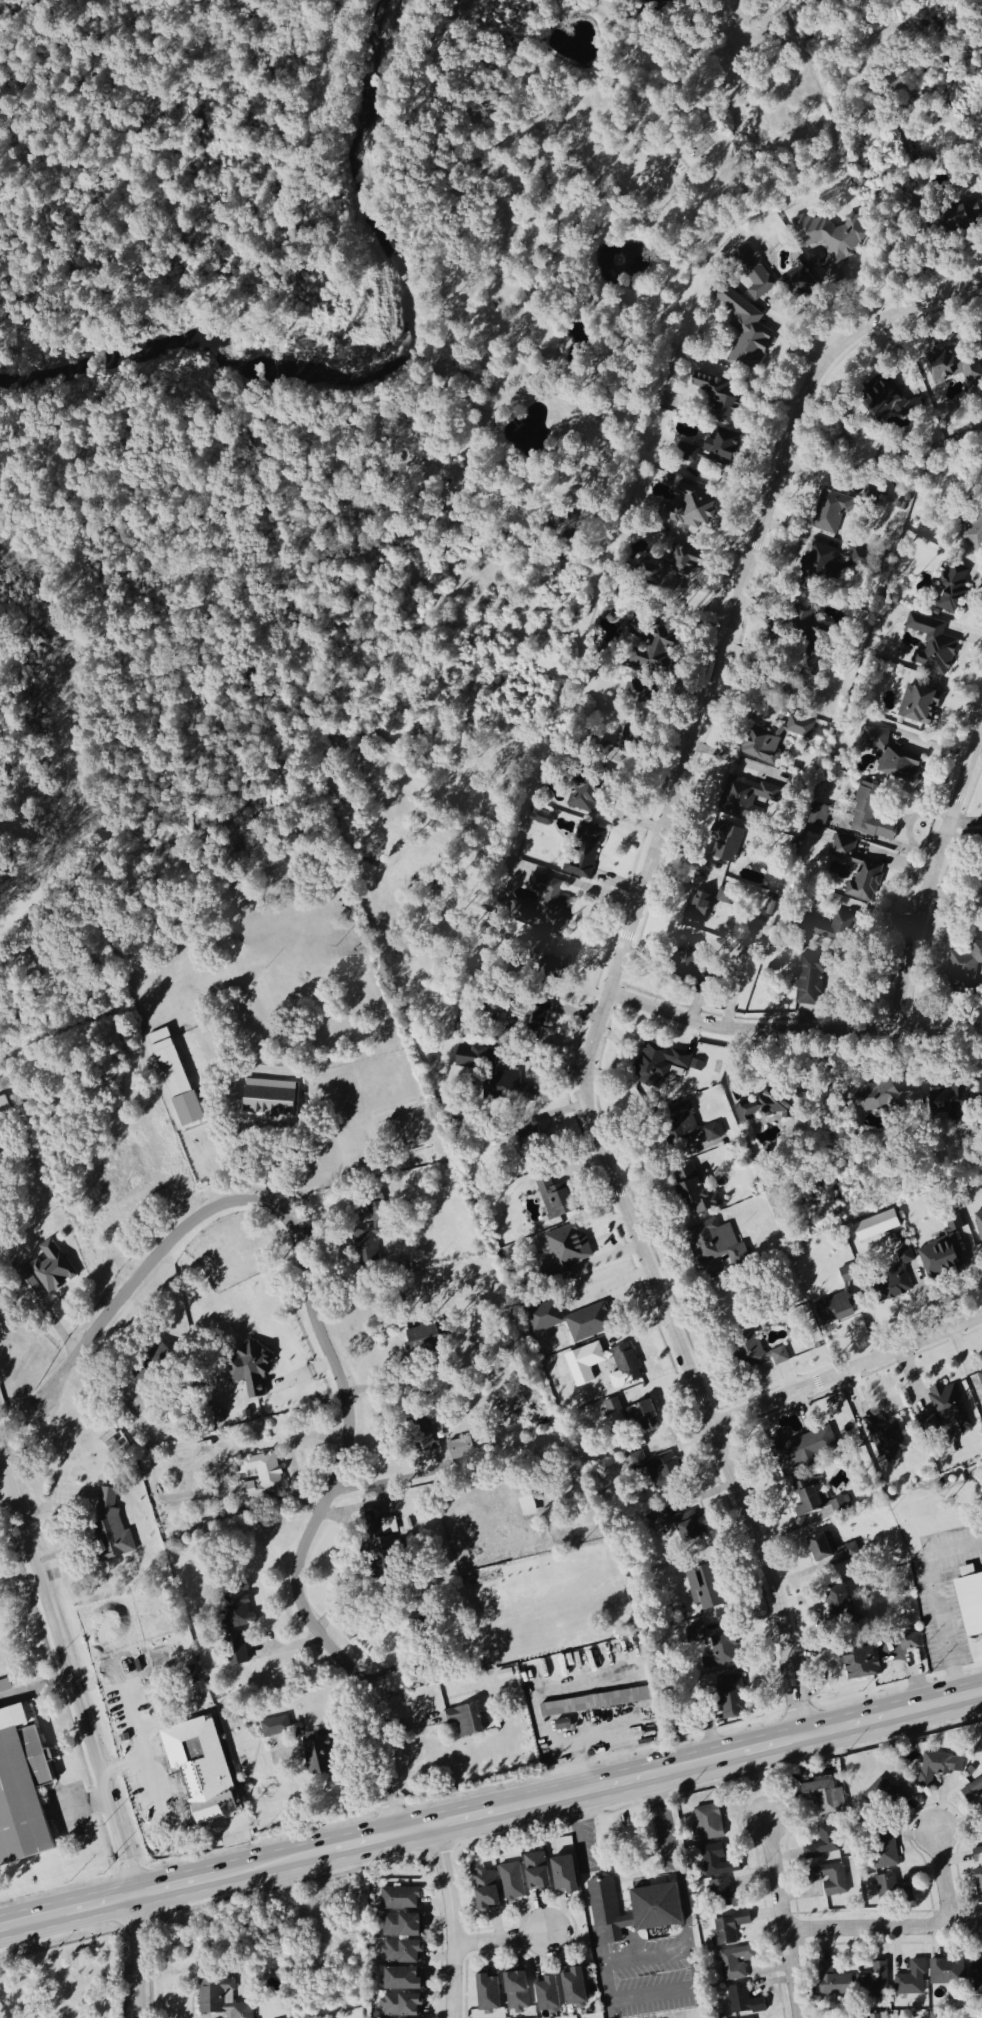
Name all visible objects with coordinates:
building: (964, 217)
building: (754, 273)
building: (801, 283)
building: (745, 332)
river: (368, 361)
building: (944, 366)
building: (972, 372)
park: (149, 392)
building: (720, 399)
building: (891, 402)
building: (723, 448)
building: (695, 504)
building: (832, 512)
building: (975, 535)
building: (822, 562)
building: (670, 565)
building: (954, 590)
building: (811, 639)
building: (933, 646)
building: (650, 657)
building: (920, 706)
building: (875, 736)
building: (775, 740)
building: (901, 765)
building: (587, 794)
building: (872, 815)
building: (820, 816)
building: (540, 818)
building: (726, 844)
building: (847, 850)
building: (585, 853)
road: (932, 875)
building: (864, 883)
building: (706, 907)
building: (835, 929)
building: (690, 958)
road: (616, 961)
building: (966, 965)
building: (810, 980)
building: (526, 1016)
road: (791, 1027)
building: (471, 1056)
building: (661, 1064)
building: (175, 1077)
building: (981, 1085)
building: (507, 1086)
building: (270, 1098)
building: (949, 1098)
building: (884, 1099)
building: (3, 1105)
building: (767, 1107)
building: (694, 1130)
building: (694, 1189)
building: (554, 1198)
building: (979, 1223)
building: (876, 1226)
building: (716, 1243)
building: (366, 1245)
building: (568, 1246)
building: (895, 1247)
building: (944, 1258)
building: (52, 1267)
building: (849, 1274)
building: (894, 1286)
building: (835, 1309)
building: (571, 1320)
building: (423, 1338)
building: (761, 1354)
building: (625, 1364)
building: (153, 1365)
building: (251, 1370)
road: (845, 1370)
road: (335, 1371)
building: (980, 1375)
building: (952, 1405)
building: (632, 1415)
building: (889, 1437)
building: (423, 1442)
building: (805, 1449)
building: (459, 1450)
road: (297, 1456)
building: (952, 1460)
building: (656, 1470)
building: (257, 1479)
road: (370, 1491)
building: (808, 1498)
building: (526, 1505)
building: (840, 1506)
road: (279, 1508)
road: (41, 1514)
road: (72, 1522)
building: (109, 1529)
building: (690, 1532)
building: (381, 1549)
building: (828, 1552)
building: (706, 1588)
building: (970, 1603)
road: (940, 1604)
building: (838, 1610)
building: (234, 1618)
building: (498, 1631)
building: (908, 1642)
building: (722, 1653)
building: (860, 1662)
road: (69, 1675)
building: (5, 1686)
building: (728, 1701)
building: (594, 1702)
building: (198, 1706)
building: (465, 1720)
building: (275, 1727)
building: (200, 1741)
road: (573, 1742)
building: (315, 1753)
road: (127, 1764)
building: (939, 1766)
building: (973, 1791)
building: (880, 1795)
building: (23, 1796)
building: (821, 1796)
road: (82, 1804)
building: (202, 1806)
road: (491, 1810)
building: (658, 1823)
building: (708, 1823)
building: (823, 1844)
building: (882, 1851)
building: (977, 1854)
road: (675, 1860)
building: (714, 1860)
building: (535, 1871)
building: (562, 1874)
road: (584, 1878)
road: (943, 1878)
building: (829, 1879)
building: (511, 1881)
building: (978, 1884)
building: (485, 1891)
building: (891, 1891)
building: (724, 1896)
building: (399, 1899)
building: (635, 1906)
road: (784, 1917)
road: (452, 1920)
building: (399, 1926)
road: (883, 1927)
building: (727, 1929)
road: (501, 1939)
building: (401, 1953)
road: (137, 1955)
road: (646, 1957)
building: (734, 1963)
building: (946, 1972)
building: (976, 1978)
building: (400, 1980)
park: (63, 1981)
building: (832, 1981)
building: (911, 1981)
building: (873, 1983)
building: (572, 1987)
building: (515, 1992)
building: (486, 1993)
building: (546, 1994)
road: (654, 1994)
building: (220, 2000)
building: (743, 2002)
building: (400, 2006)
building: (874, 2016)
building: (935, 2016)

